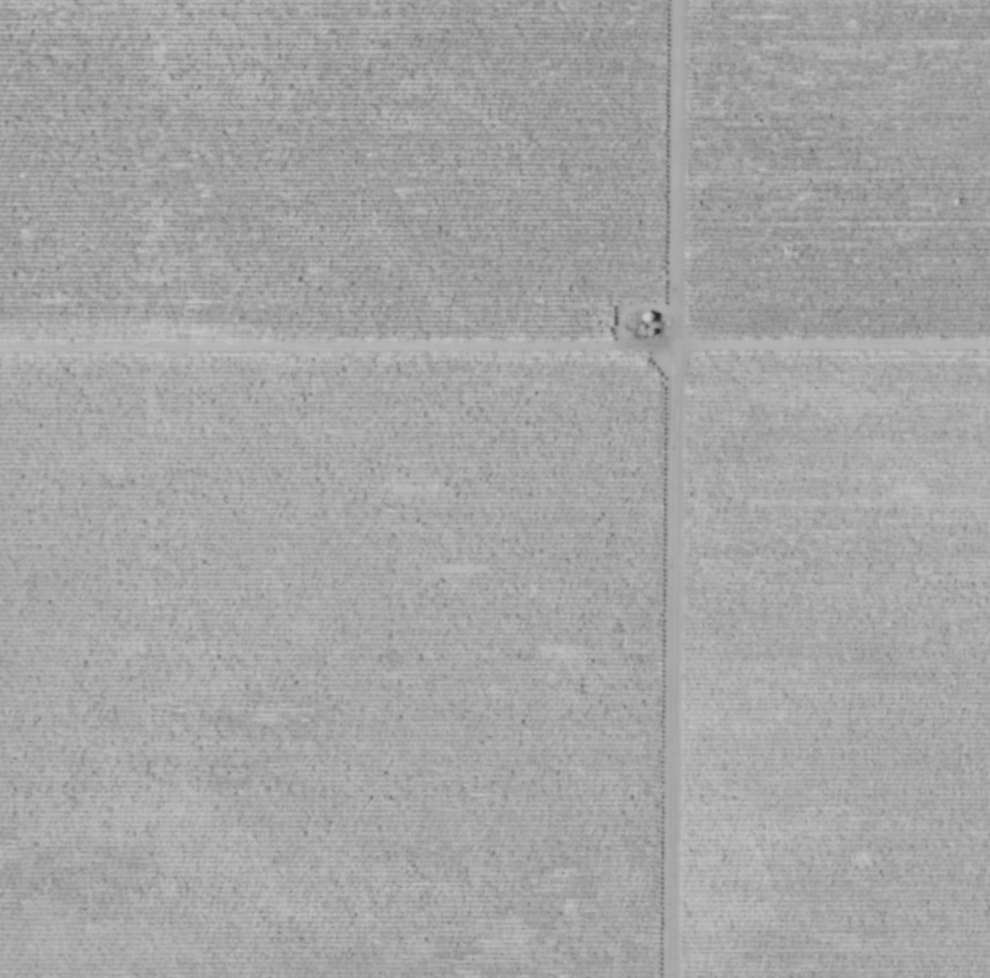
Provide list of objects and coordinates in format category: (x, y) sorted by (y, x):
crop: (326, 170)
crop: (833, 173)
road: (495, 350)
road: (667, 489)
crop: (327, 668)
crop: (831, 668)

